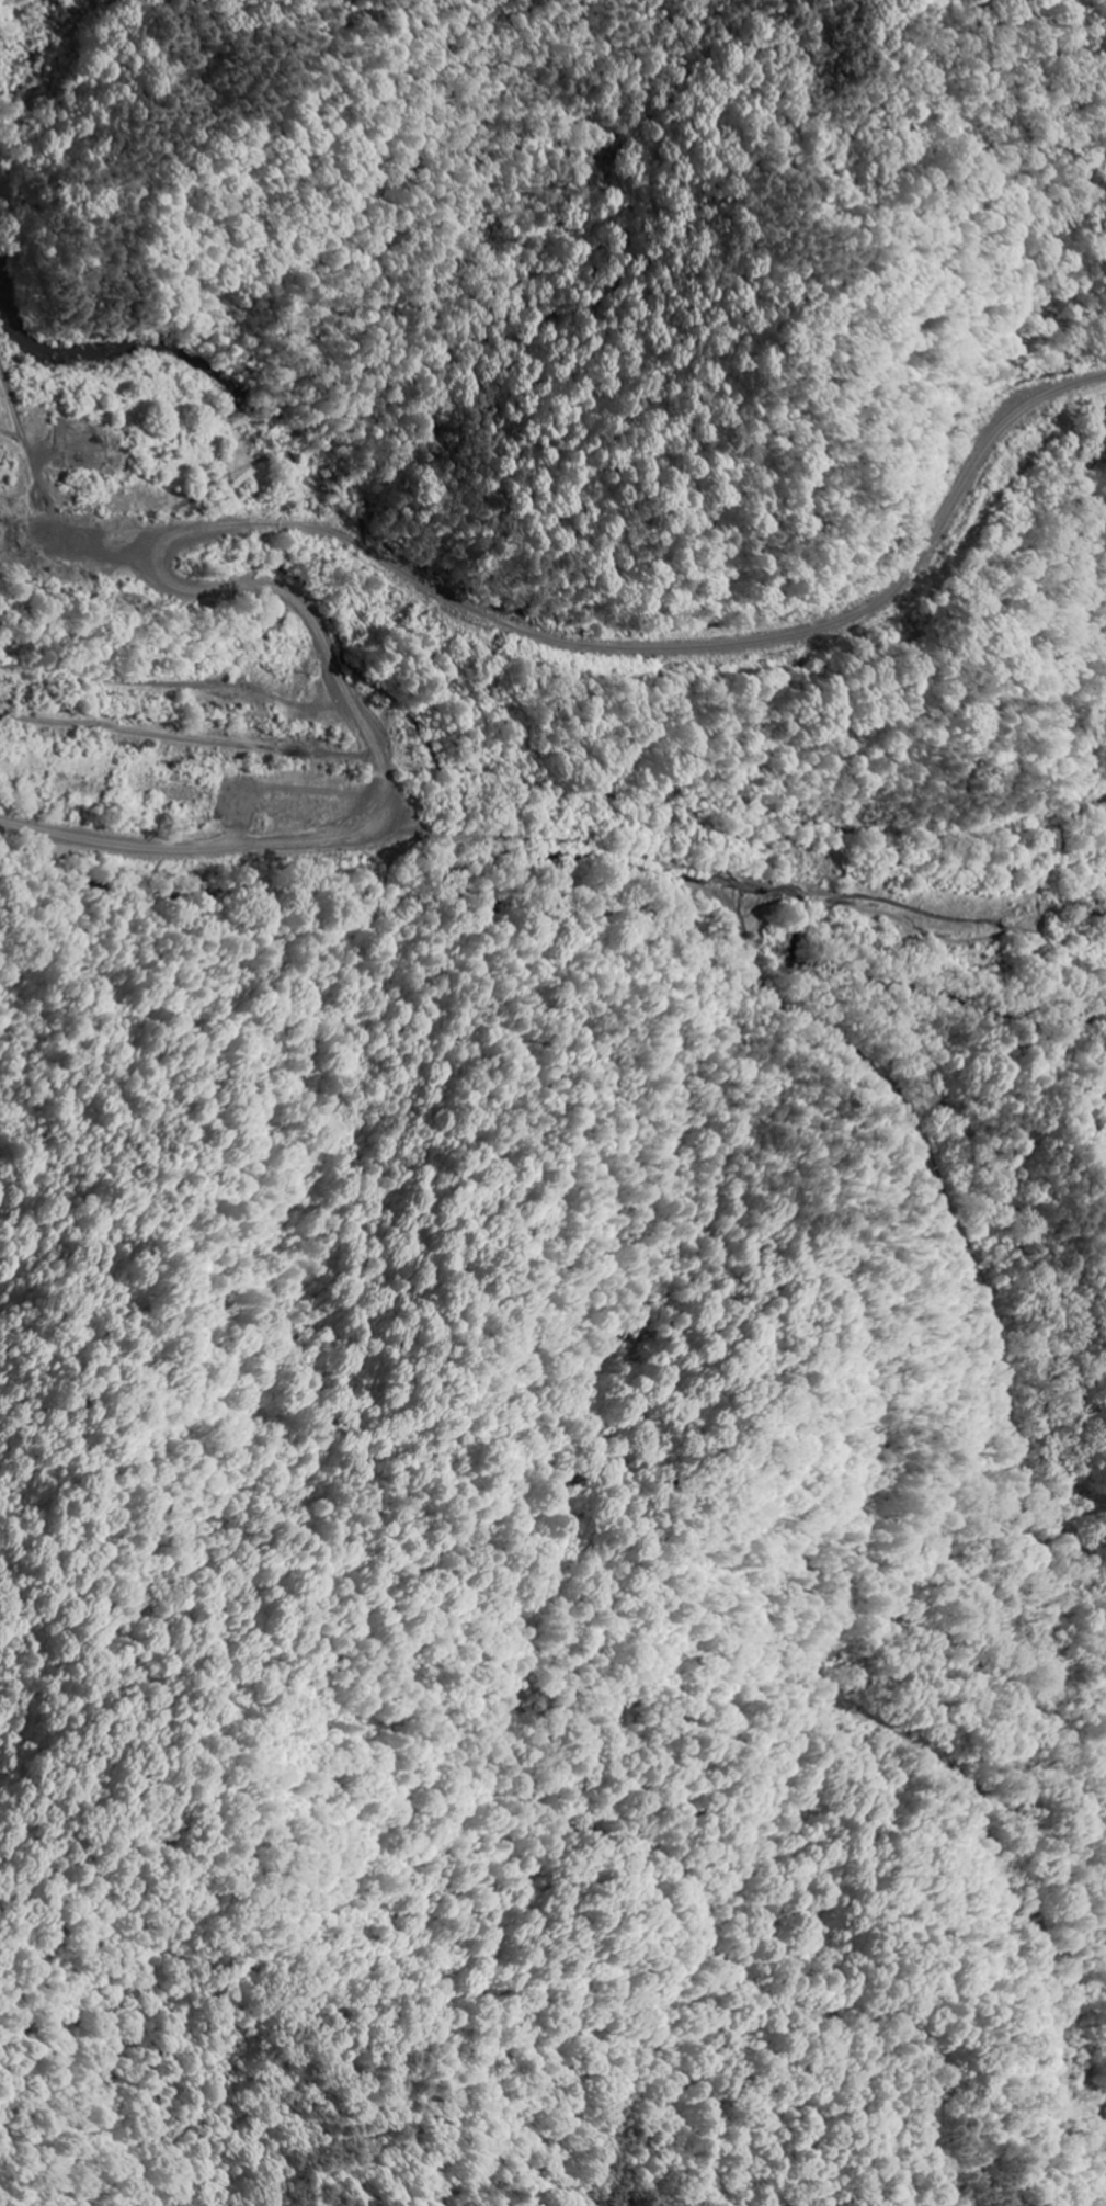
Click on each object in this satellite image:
road: (622, 642)
road: (193, 847)
road: (730, 909)
road: (908, 1745)

